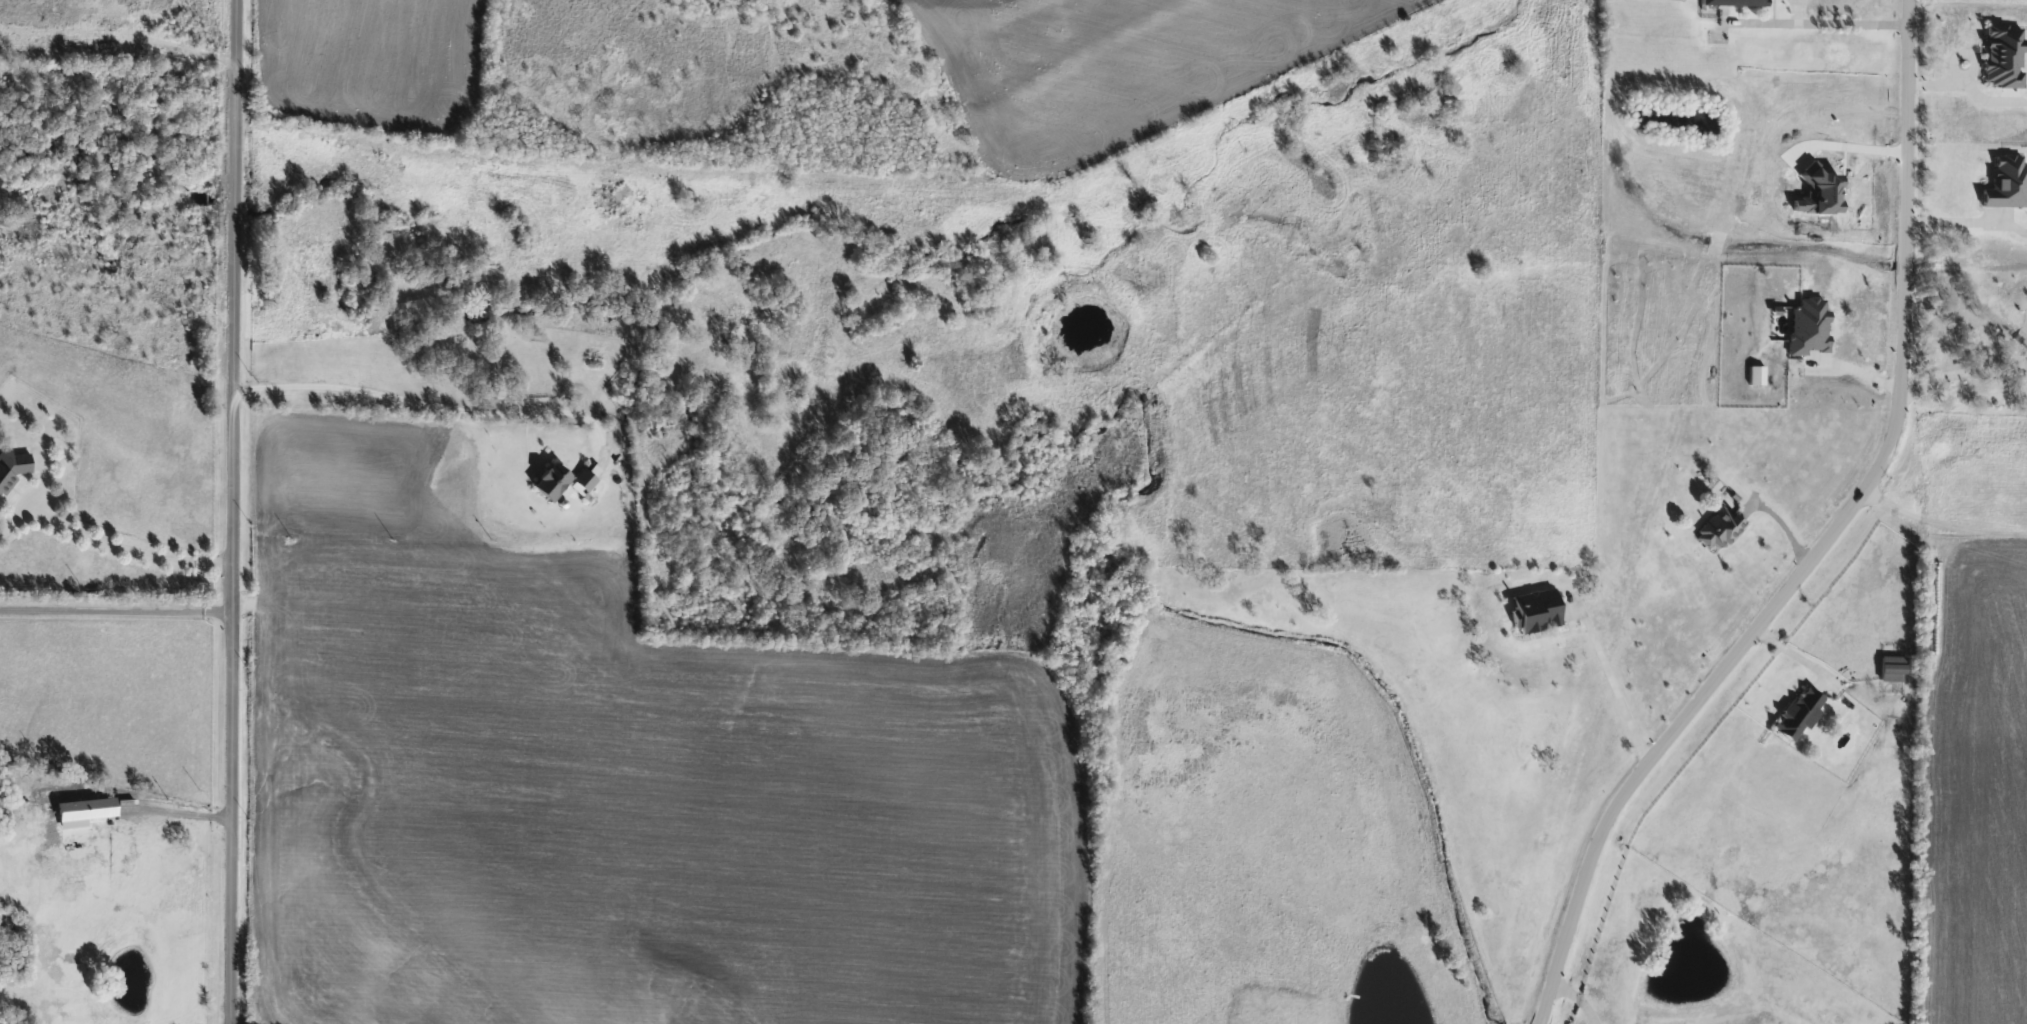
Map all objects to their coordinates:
building: (1734, 1)
road: (1817, 22)
road: (1952, 219)
road: (1968, 368)
road: (1854, 371)
road: (438, 405)
building: (11, 467)
building: (550, 479)
road: (239, 512)
building: (1717, 526)
road: (1814, 540)
road: (133, 548)
road: (118, 610)
building: (1534, 610)
road: (1784, 651)
building: (1892, 668)
road: (1609, 682)
building: (1798, 713)
road: (1575, 995)

